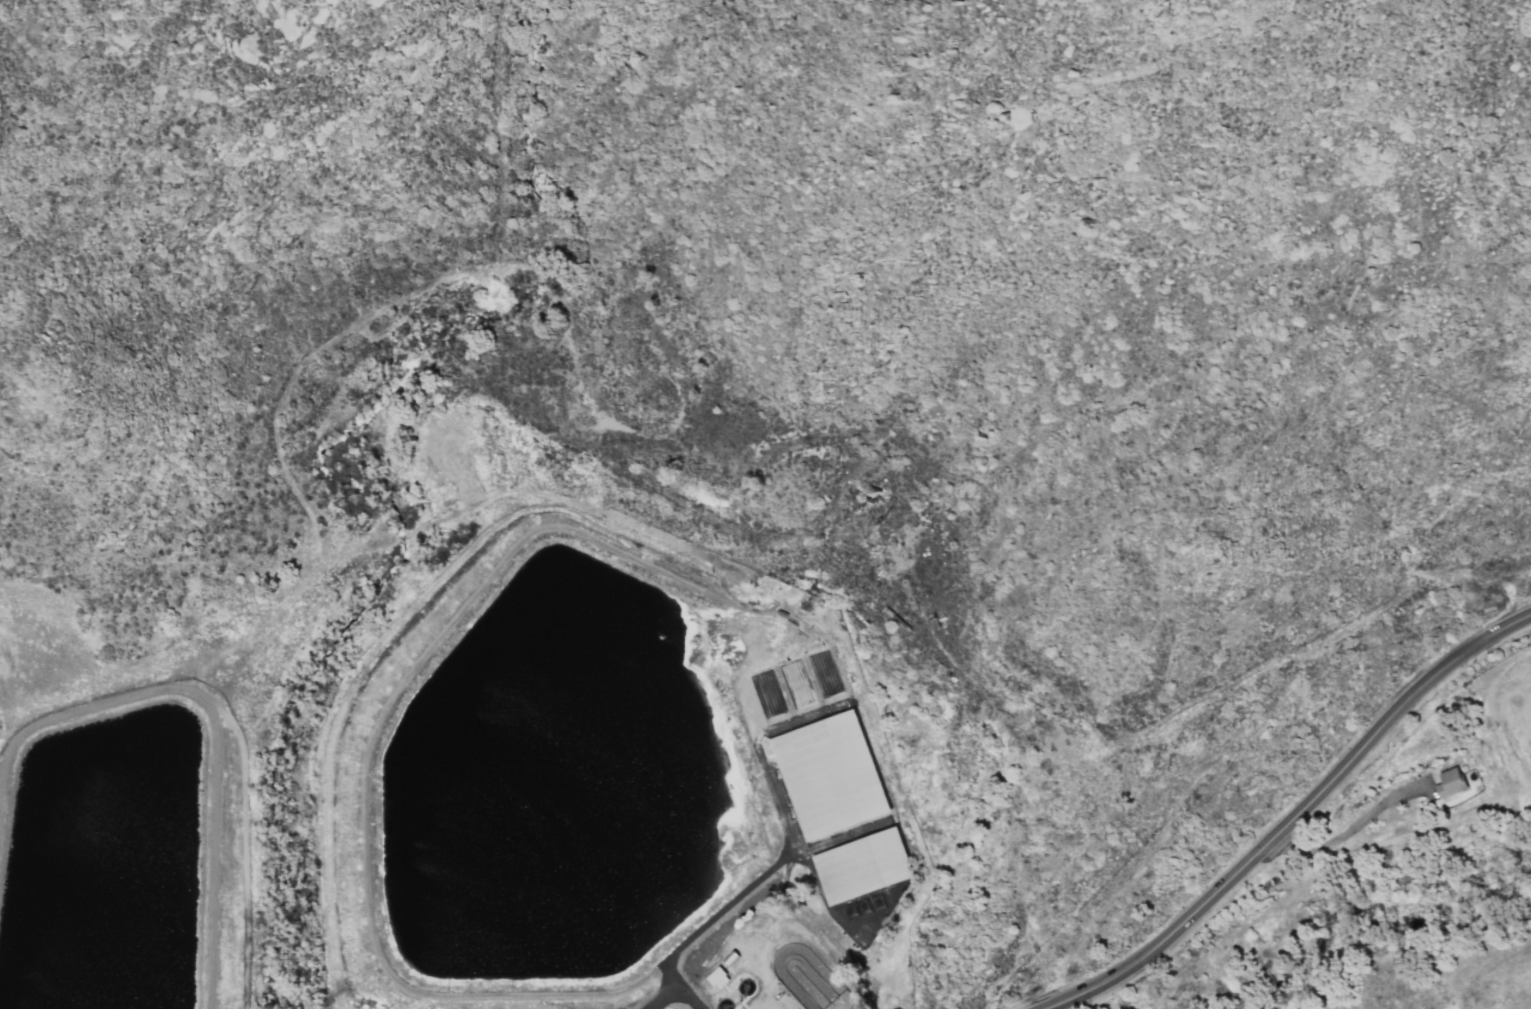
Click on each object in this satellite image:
building: (831, 778)
building: (1449, 782)
road: (1292, 816)
road: (1345, 831)
building: (861, 865)
road: (744, 886)
building: (717, 977)
road: (673, 993)

